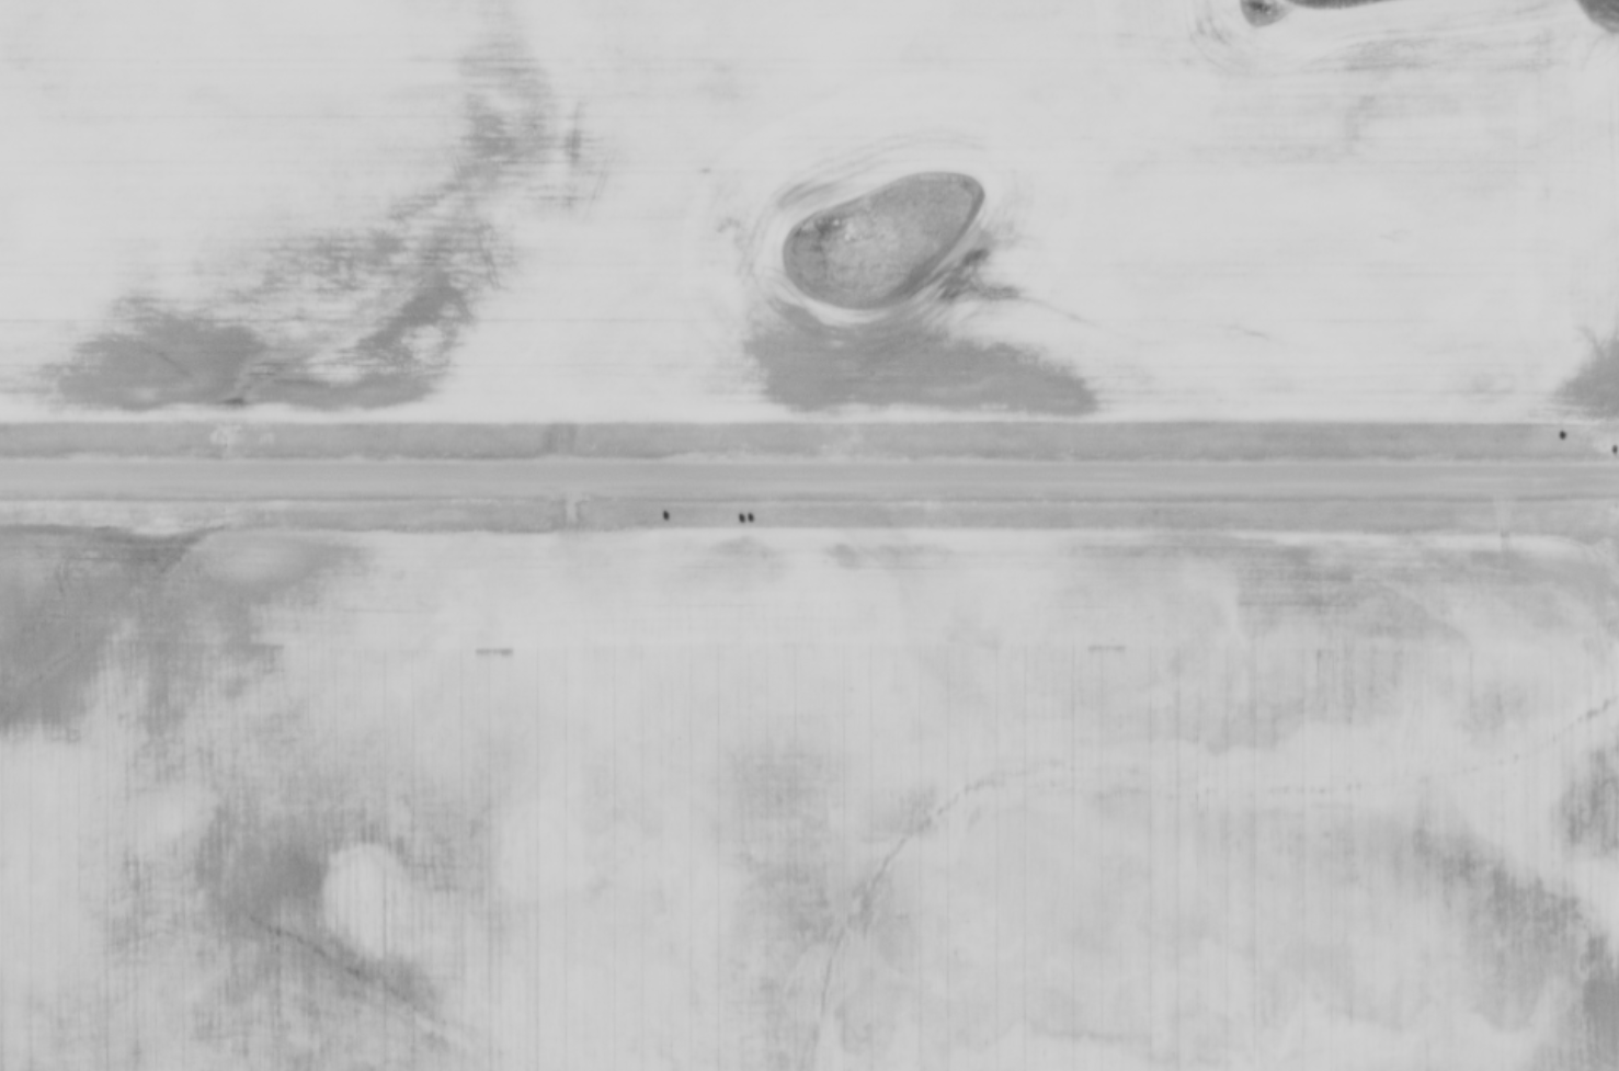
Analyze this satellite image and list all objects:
road: (809, 474)

